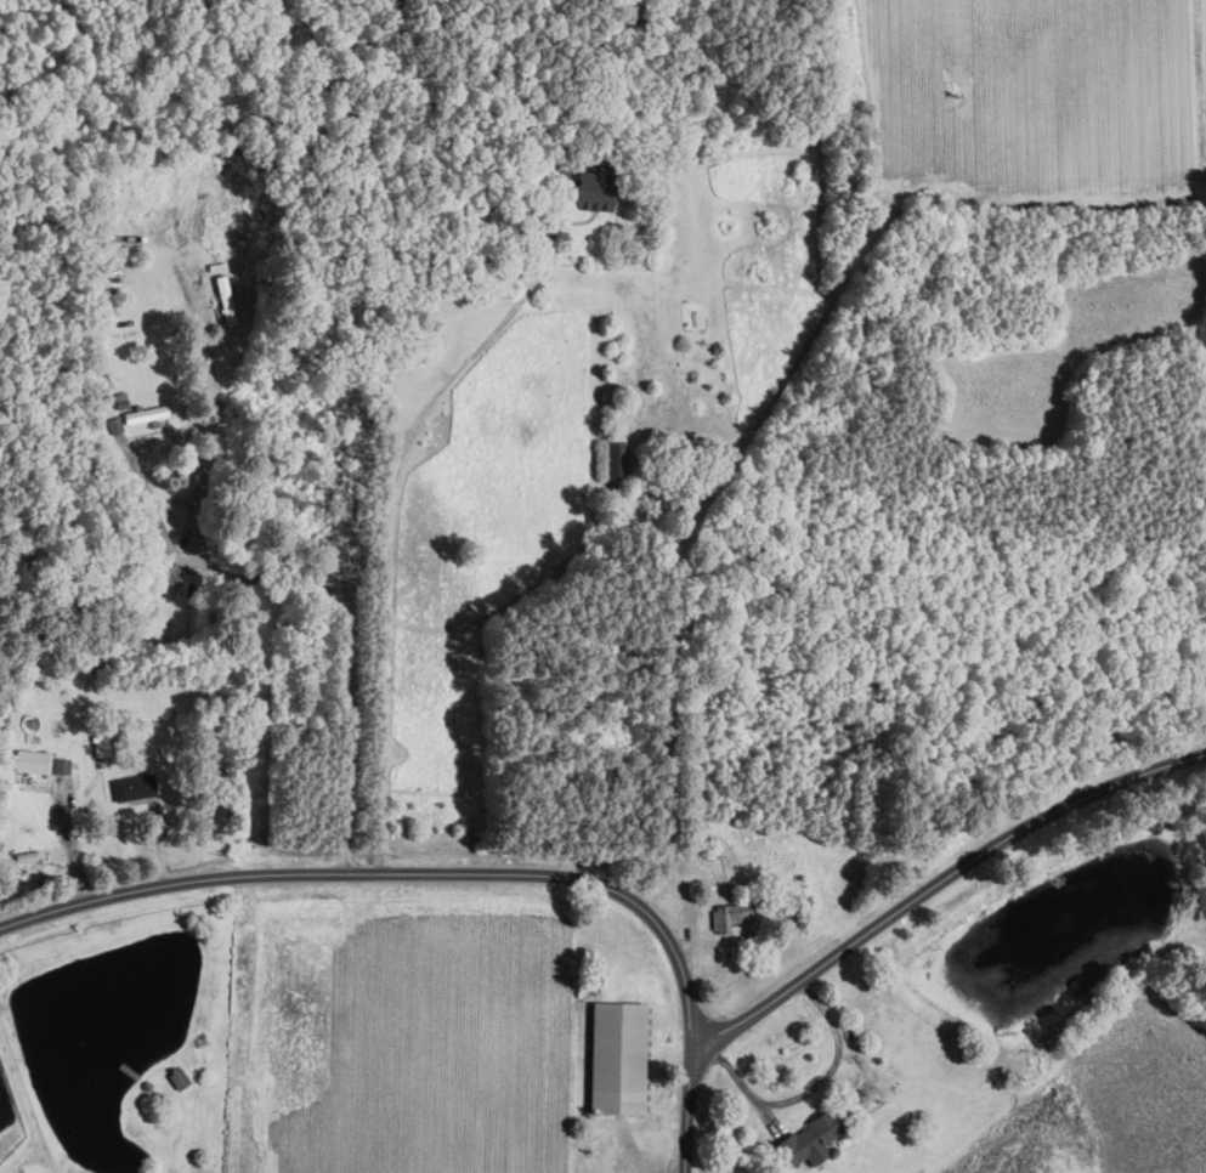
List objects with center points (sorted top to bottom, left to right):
building: (595, 188)
building: (151, 412)
building: (617, 459)
road: (393, 516)
road: (283, 583)
building: (102, 744)
building: (32, 760)
building: (62, 765)
building: (135, 786)
road: (460, 873)
road: (938, 885)
building: (731, 916)
building: (617, 1056)
building: (177, 1079)
road: (24, 1106)
building: (809, 1139)

